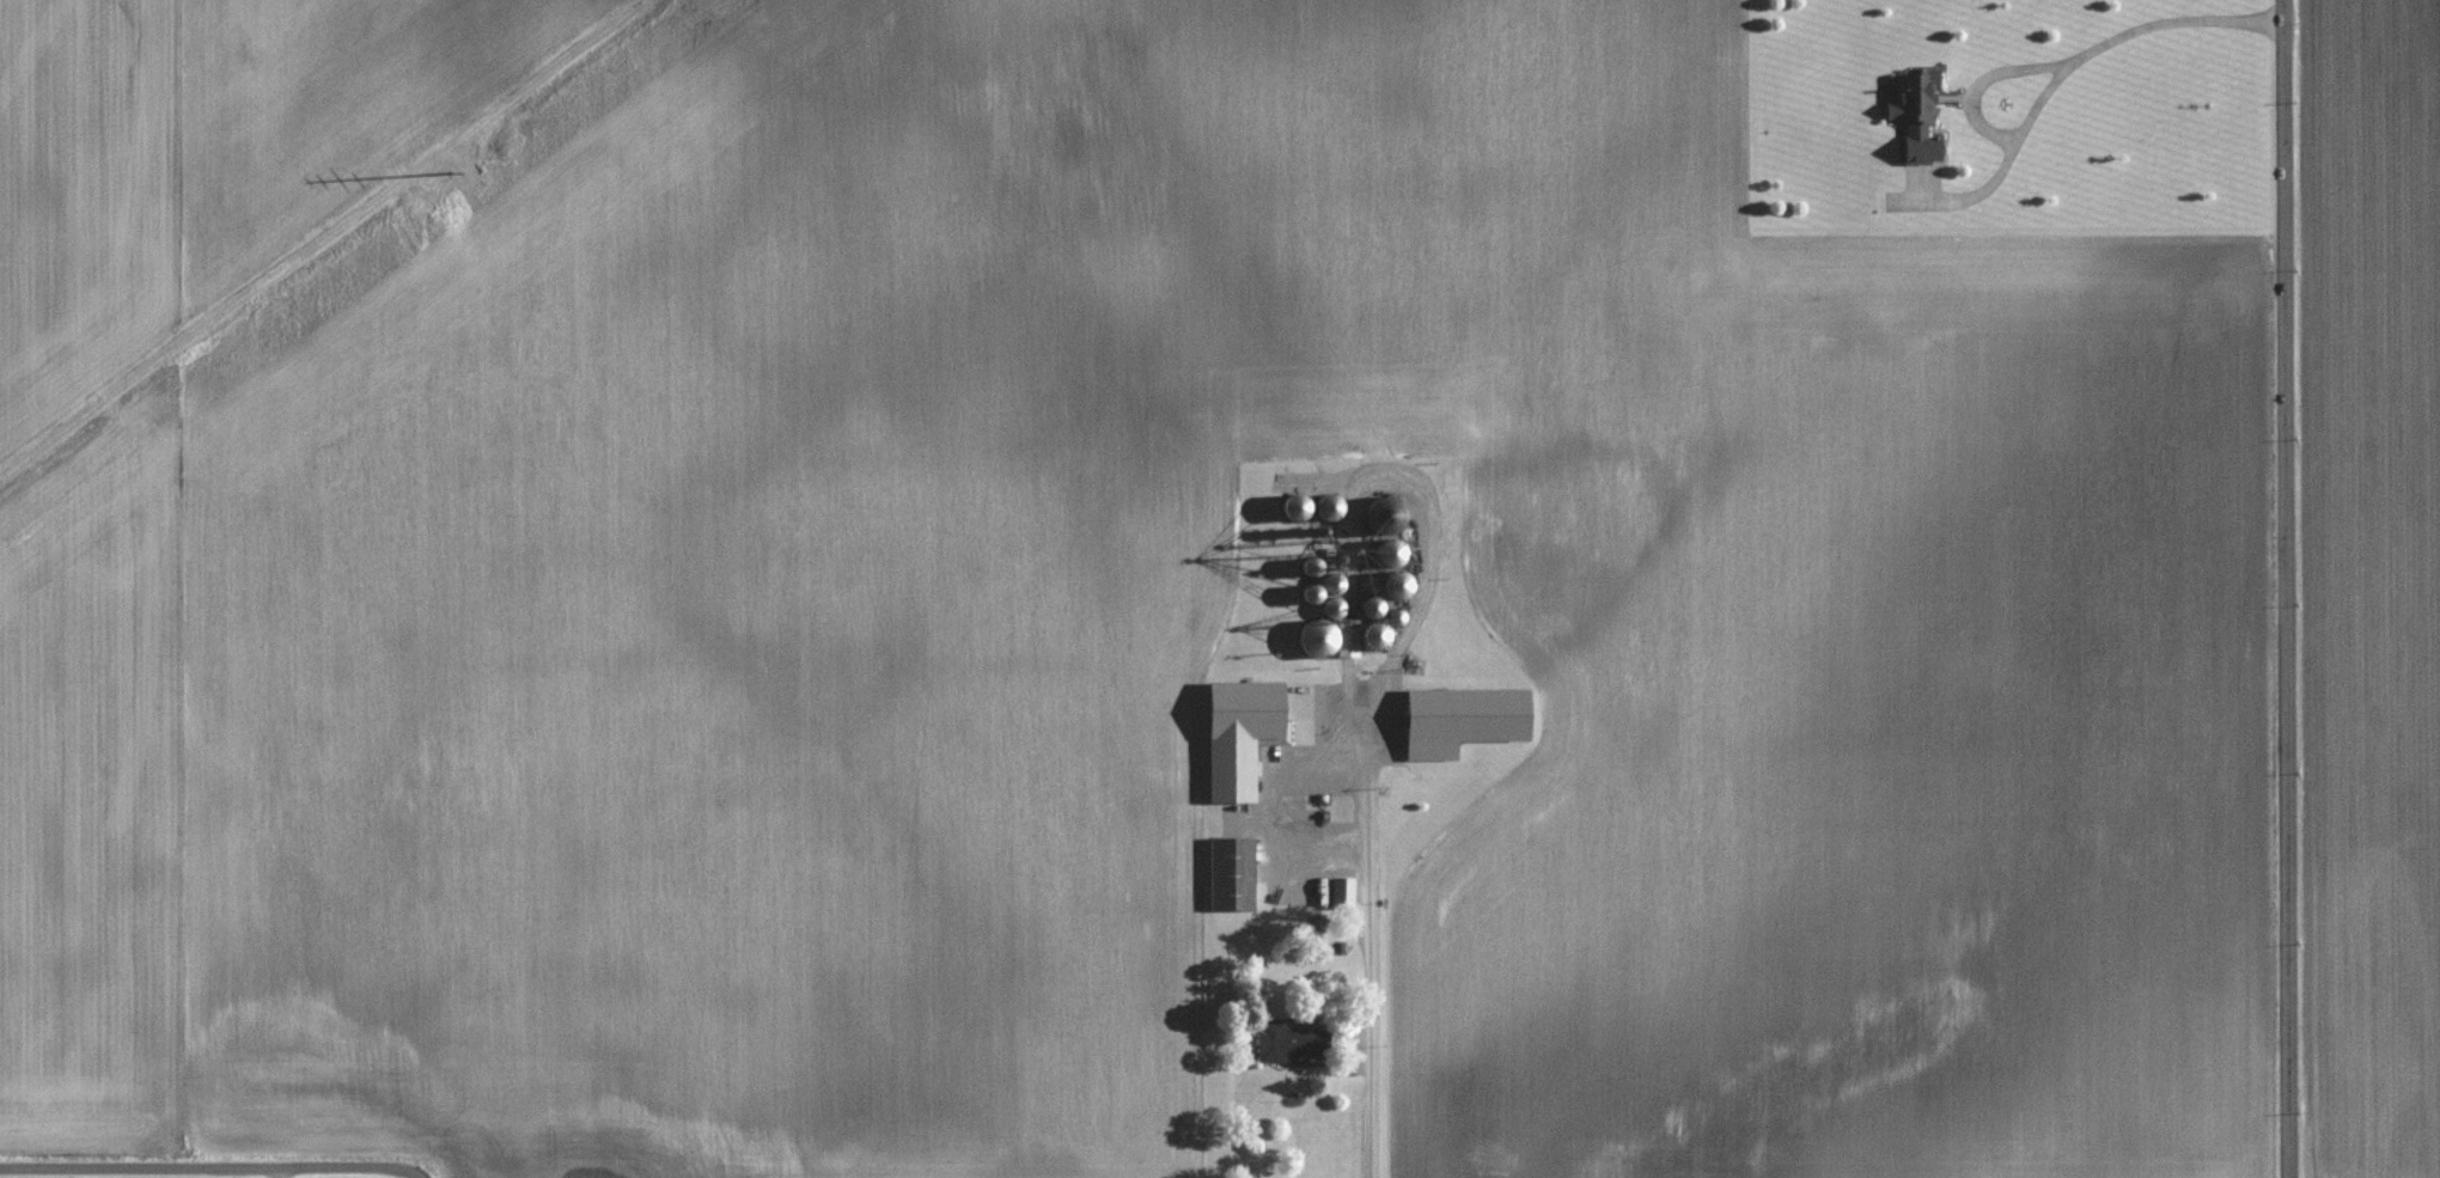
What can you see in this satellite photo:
road: (2067, 66)
road: (1981, 79)
building: (1916, 118)
power tower: (449, 216)
building: (1297, 506)
building: (1329, 506)
building: (1383, 515)
building: (1390, 554)
building: (1312, 566)
building: (1334, 584)
building: (1398, 585)
road: (2286, 588)
building: (1248, 710)
building: (1464, 719)
building: (1330, 826)
building: (1232, 874)
building: (1343, 893)
road: (1367, 939)
building: (1293, 1042)
road: (209, 1167)
road: (280, 1172)

